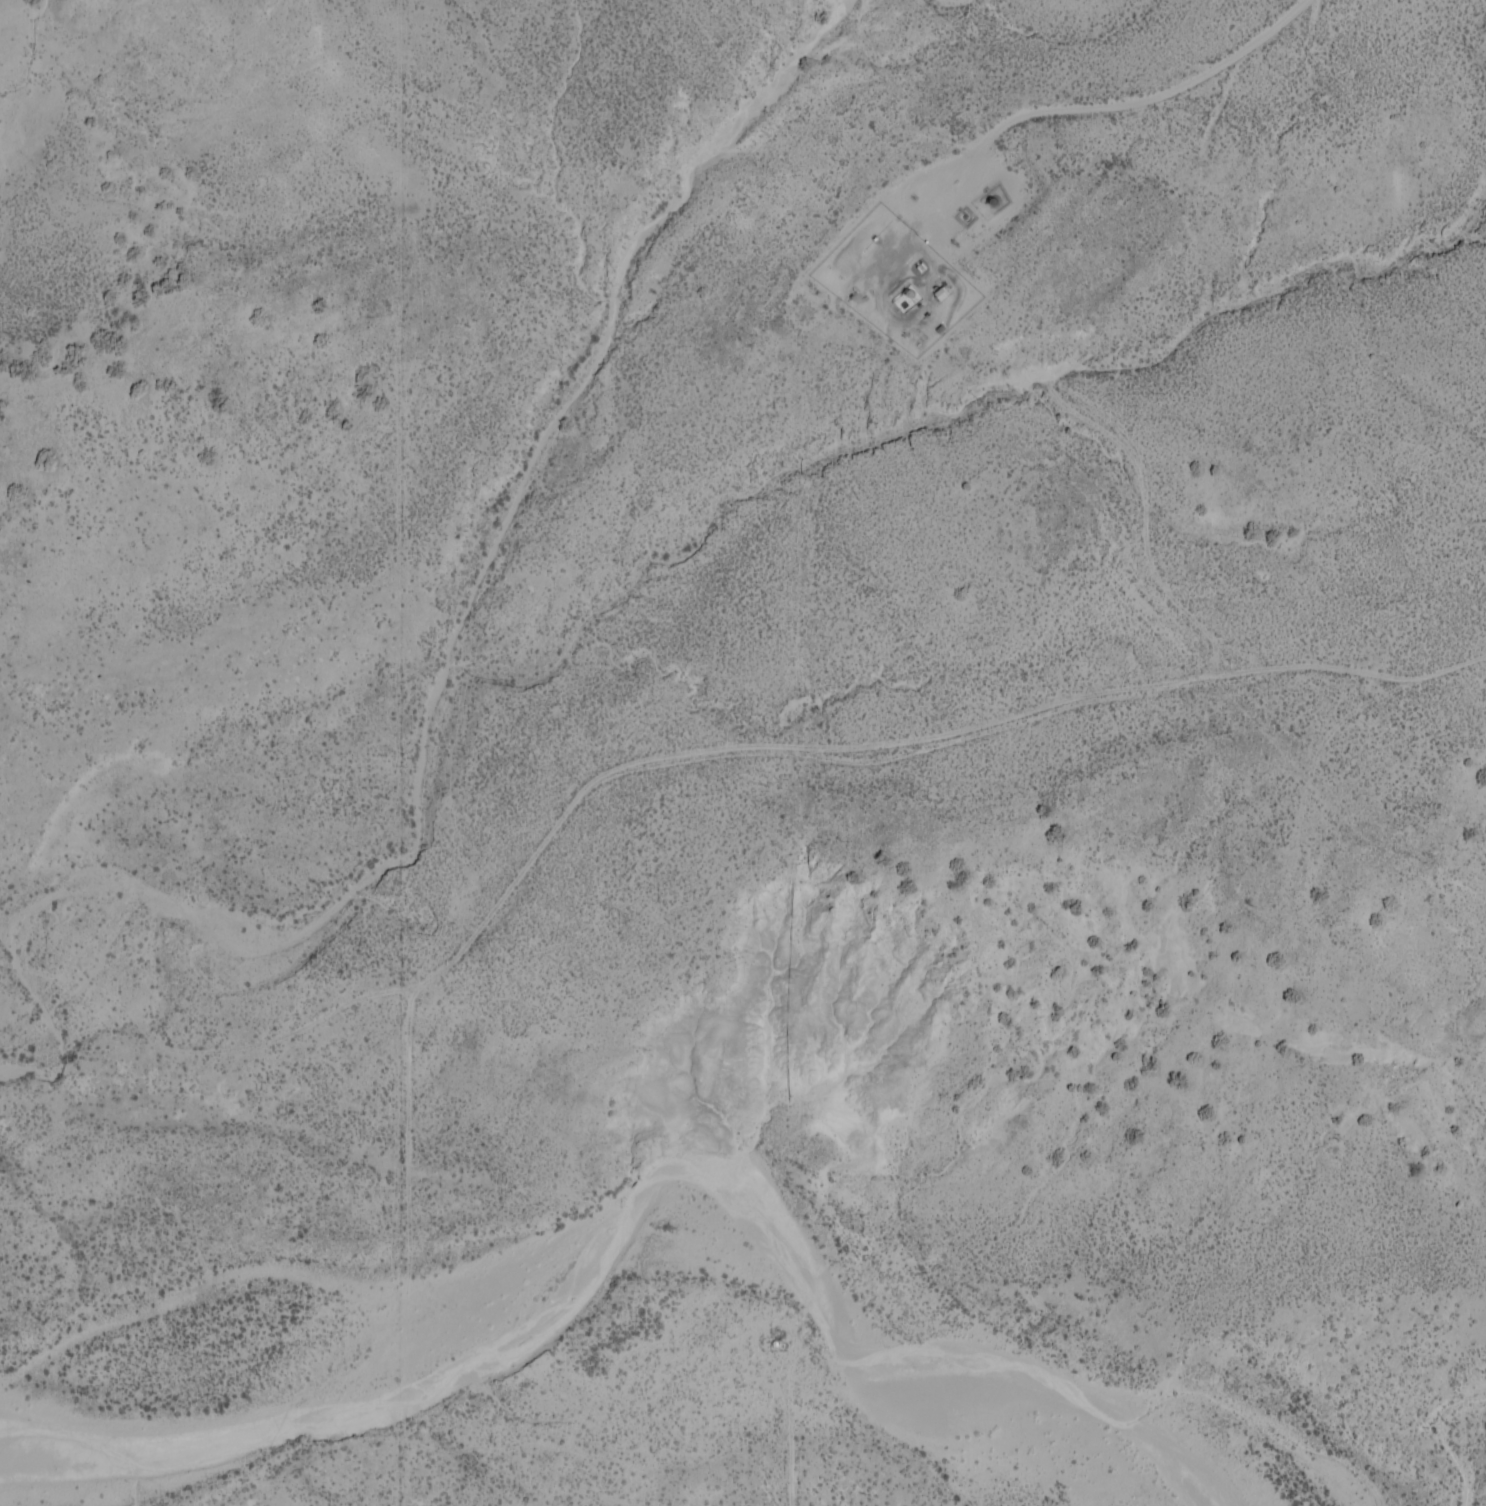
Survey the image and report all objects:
river: (642, 1185)

